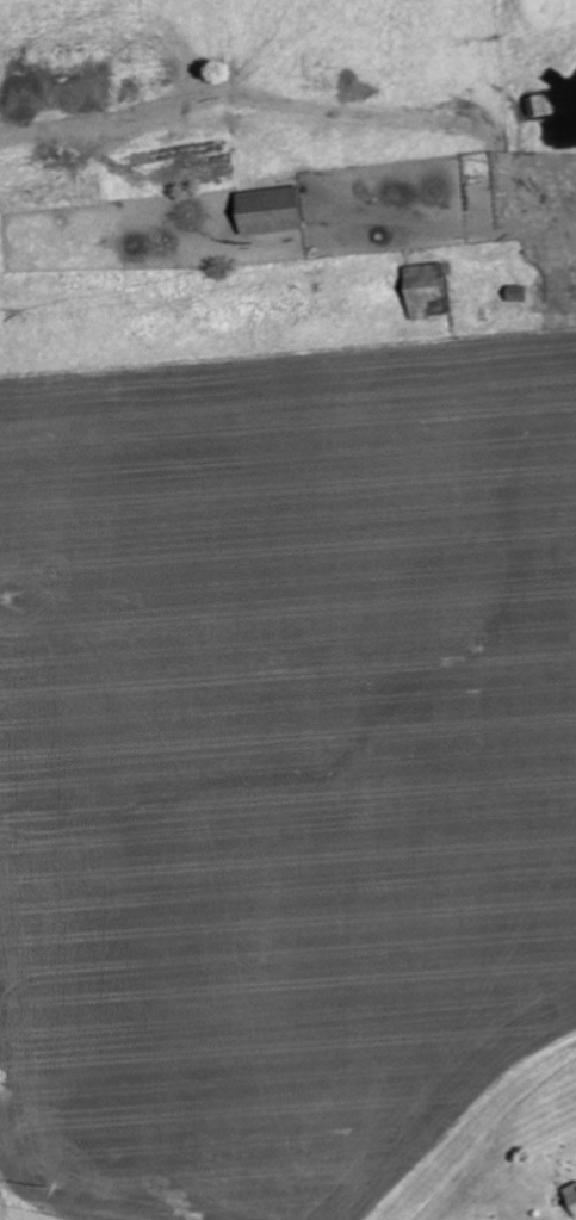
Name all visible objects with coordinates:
building: (277, 209)
building: (432, 286)
road: (63, 1188)
building: (574, 1191)

